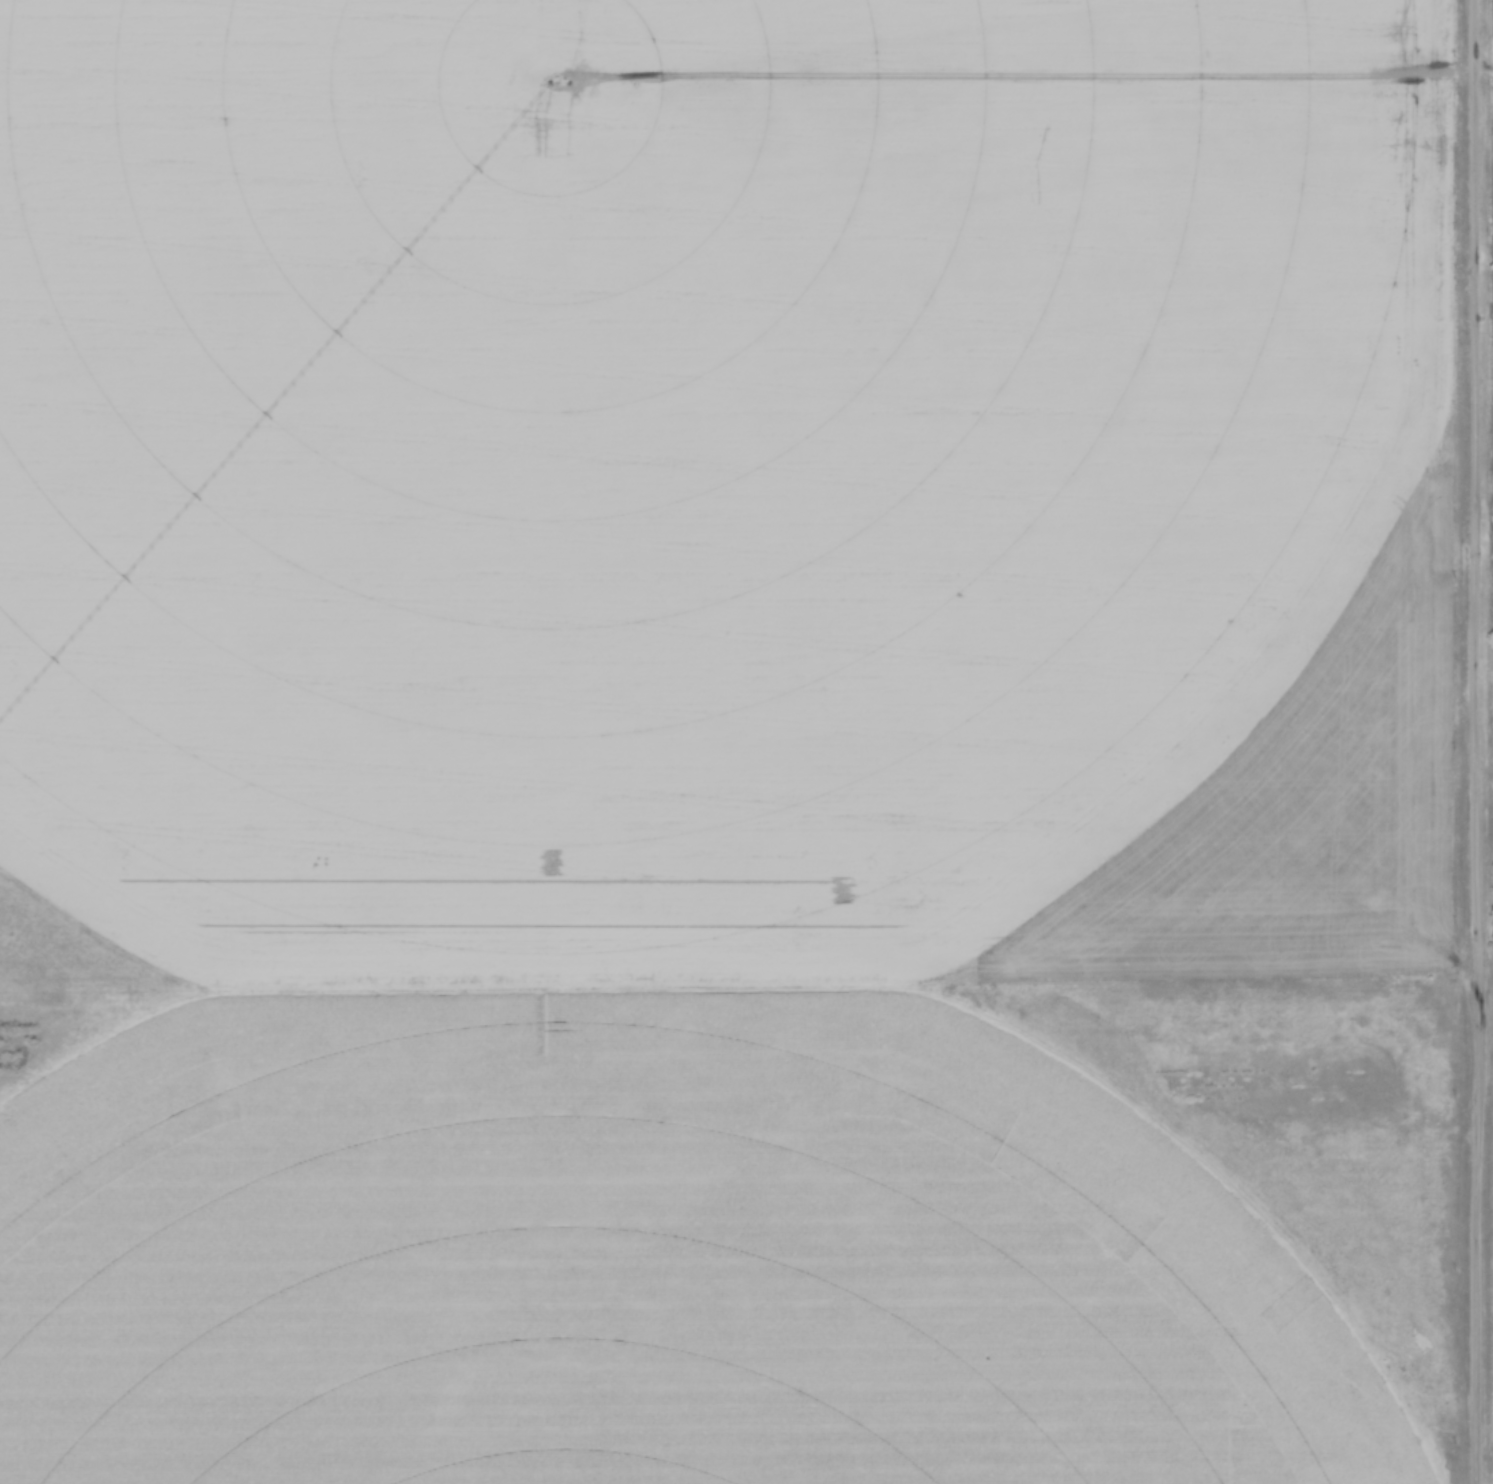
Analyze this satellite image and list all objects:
road: (1479, 742)

